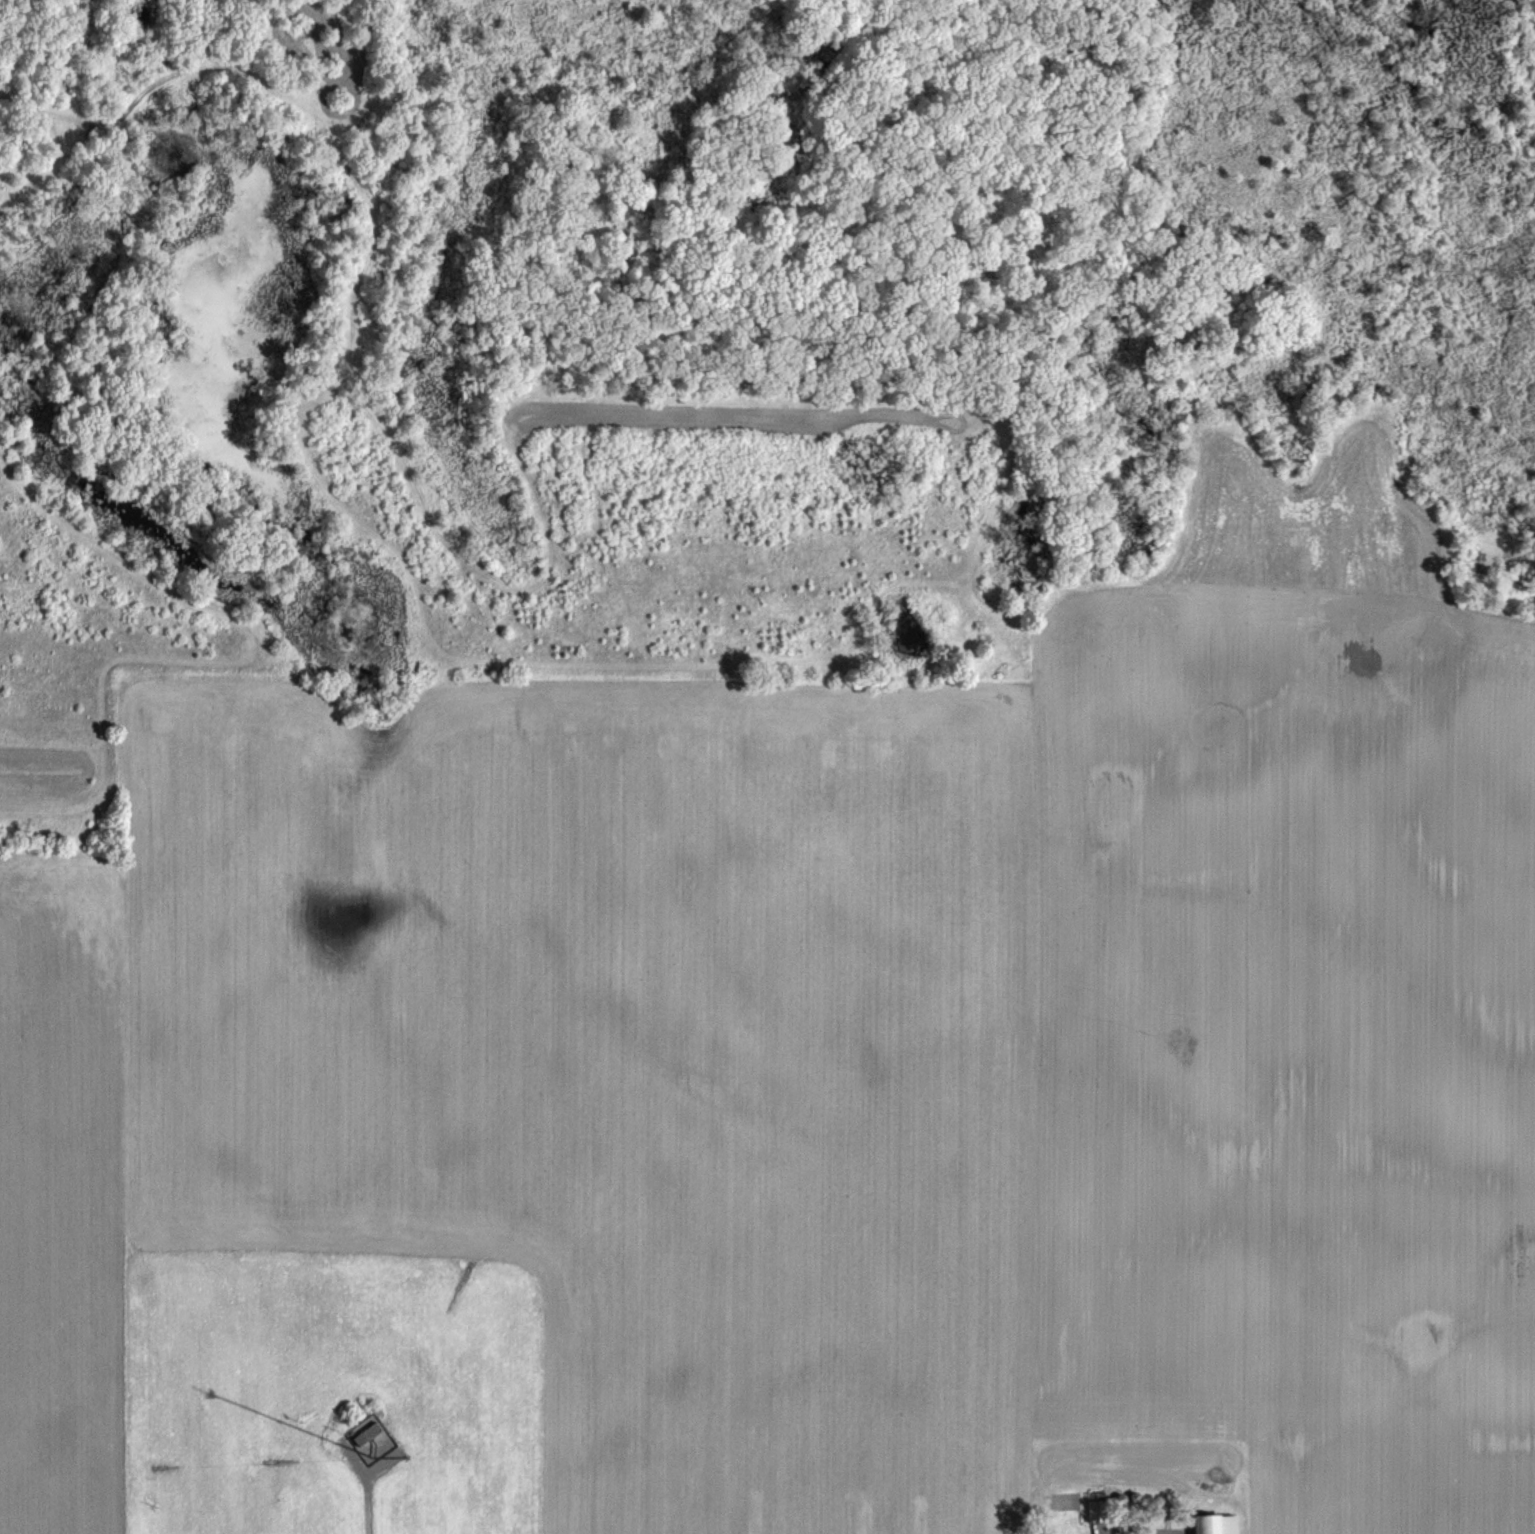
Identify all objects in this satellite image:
building: (1097, 1510)
building: (1217, 1523)

